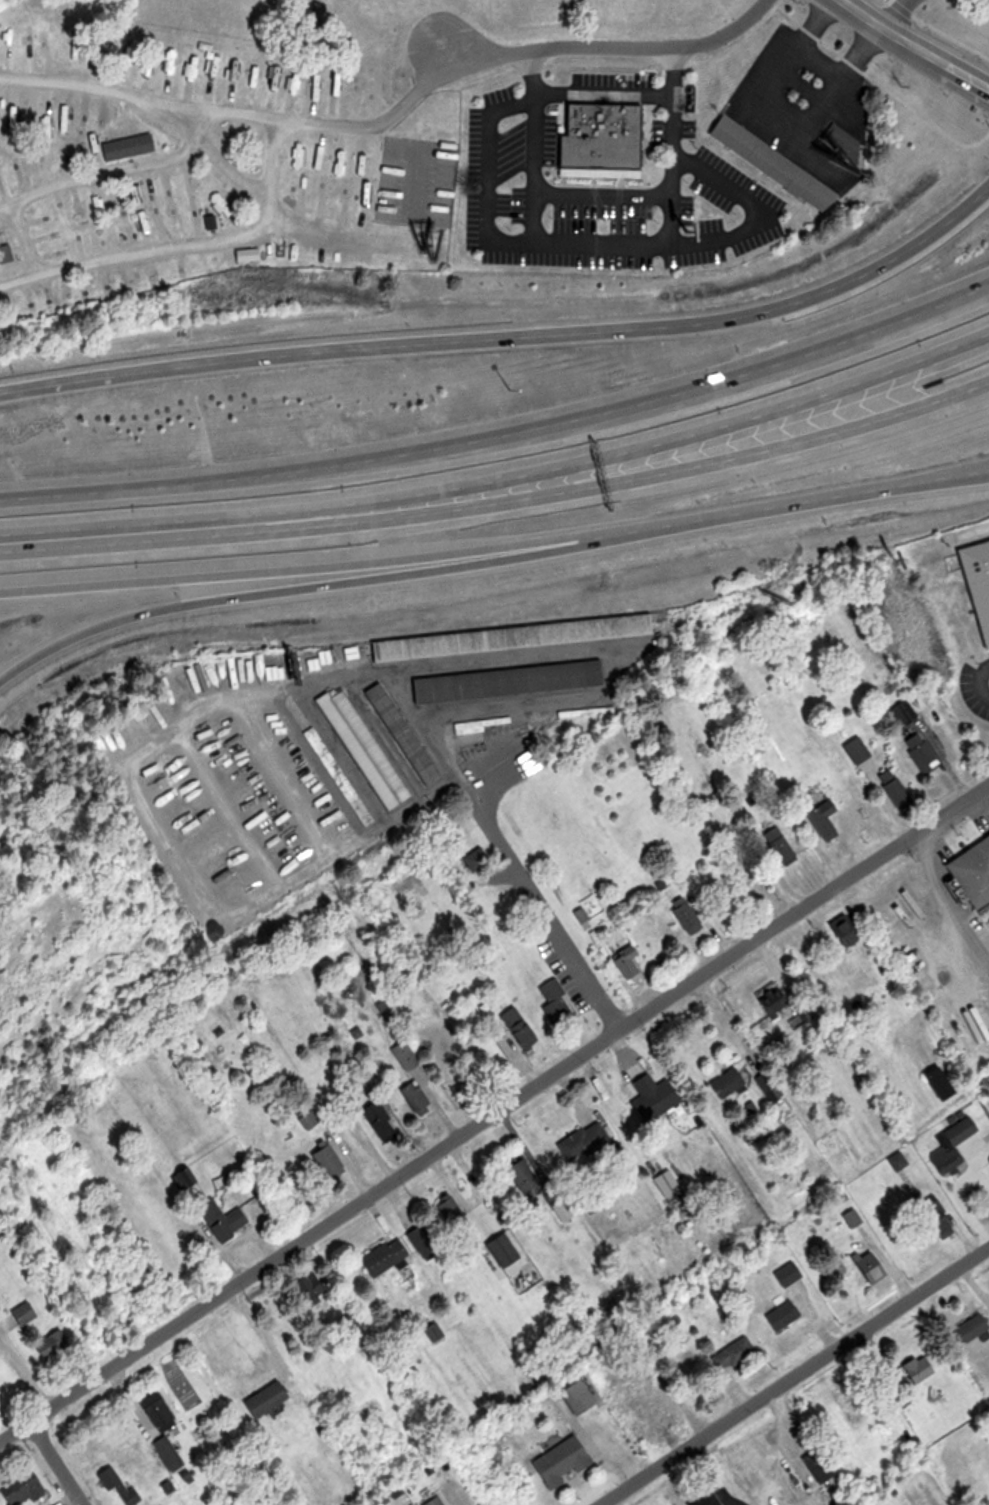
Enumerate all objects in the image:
park: (921, 8)
road: (902, 14)
road: (914, 47)
road: (615, 49)
road: (604, 92)
road: (238, 112)
building: (601, 141)
building: (132, 146)
building: (774, 163)
road: (101, 172)
road: (493, 177)
building: (399, 197)
road: (602, 199)
road: (265, 201)
road: (766, 212)
building: (7, 234)
road: (186, 243)
road: (603, 246)
building: (268, 252)
building: (7, 254)
road: (510, 339)
road: (504, 447)
road: (571, 464)
road: (570, 494)
road: (69, 543)
road: (496, 547)
building: (979, 582)
road: (311, 585)
building: (515, 644)
road: (981, 685)
building: (512, 688)
building: (902, 712)
building: (367, 748)
building: (852, 751)
building: (340, 774)
building: (890, 790)
building: (828, 819)
building: (783, 847)
building: (479, 858)
road: (521, 875)
building: (973, 876)
road: (944, 897)
building: (689, 915)
building: (853, 929)
building: (631, 962)
building: (776, 997)
building: (514, 1019)
building: (447, 1042)
building: (731, 1082)
building: (657, 1097)
building: (418, 1098)
road: (494, 1110)
building: (311, 1120)
building: (383, 1123)
building: (586, 1141)
building: (948, 1145)
building: (332, 1161)
building: (933, 1218)
building: (228, 1220)
building: (189, 1221)
building: (427, 1242)
building: (508, 1251)
building: (388, 1257)
building: (792, 1273)
building: (28, 1312)
building: (785, 1316)
building: (969, 1329)
building: (437, 1331)
building: (56, 1344)
building: (736, 1354)
building: (912, 1368)
road: (793, 1375)
building: (583, 1396)
building: (270, 1398)
building: (670, 1405)
building: (162, 1410)
building: (170, 1453)
building: (567, 1461)
road: (59, 1462)
building: (813, 1465)
building: (121, 1485)
building: (27, 1489)
building: (701, 1499)
building: (438, 1501)

